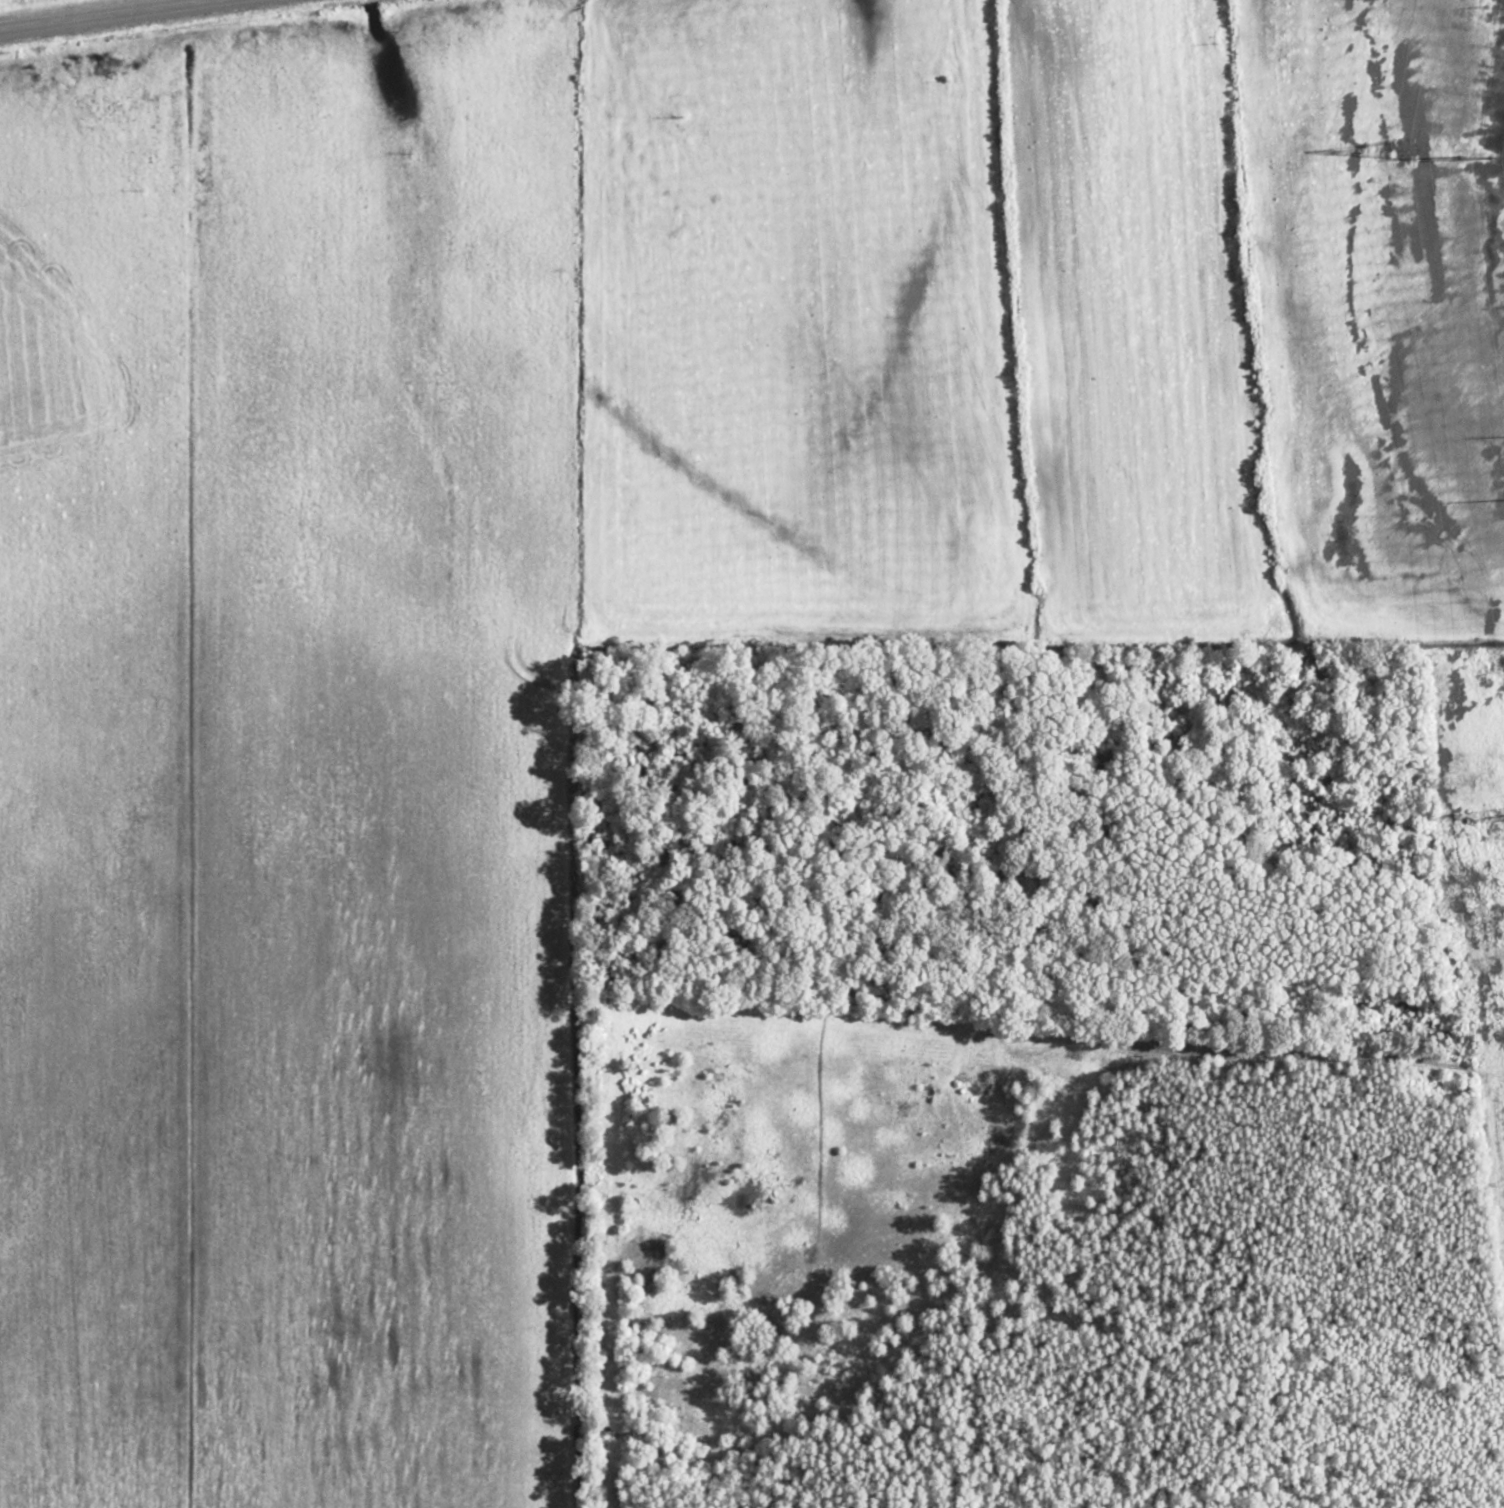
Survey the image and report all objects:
road: (72, 9)
power tower: (1403, 149)
power tower: (1470, 151)
power tower: (1502, 808)

